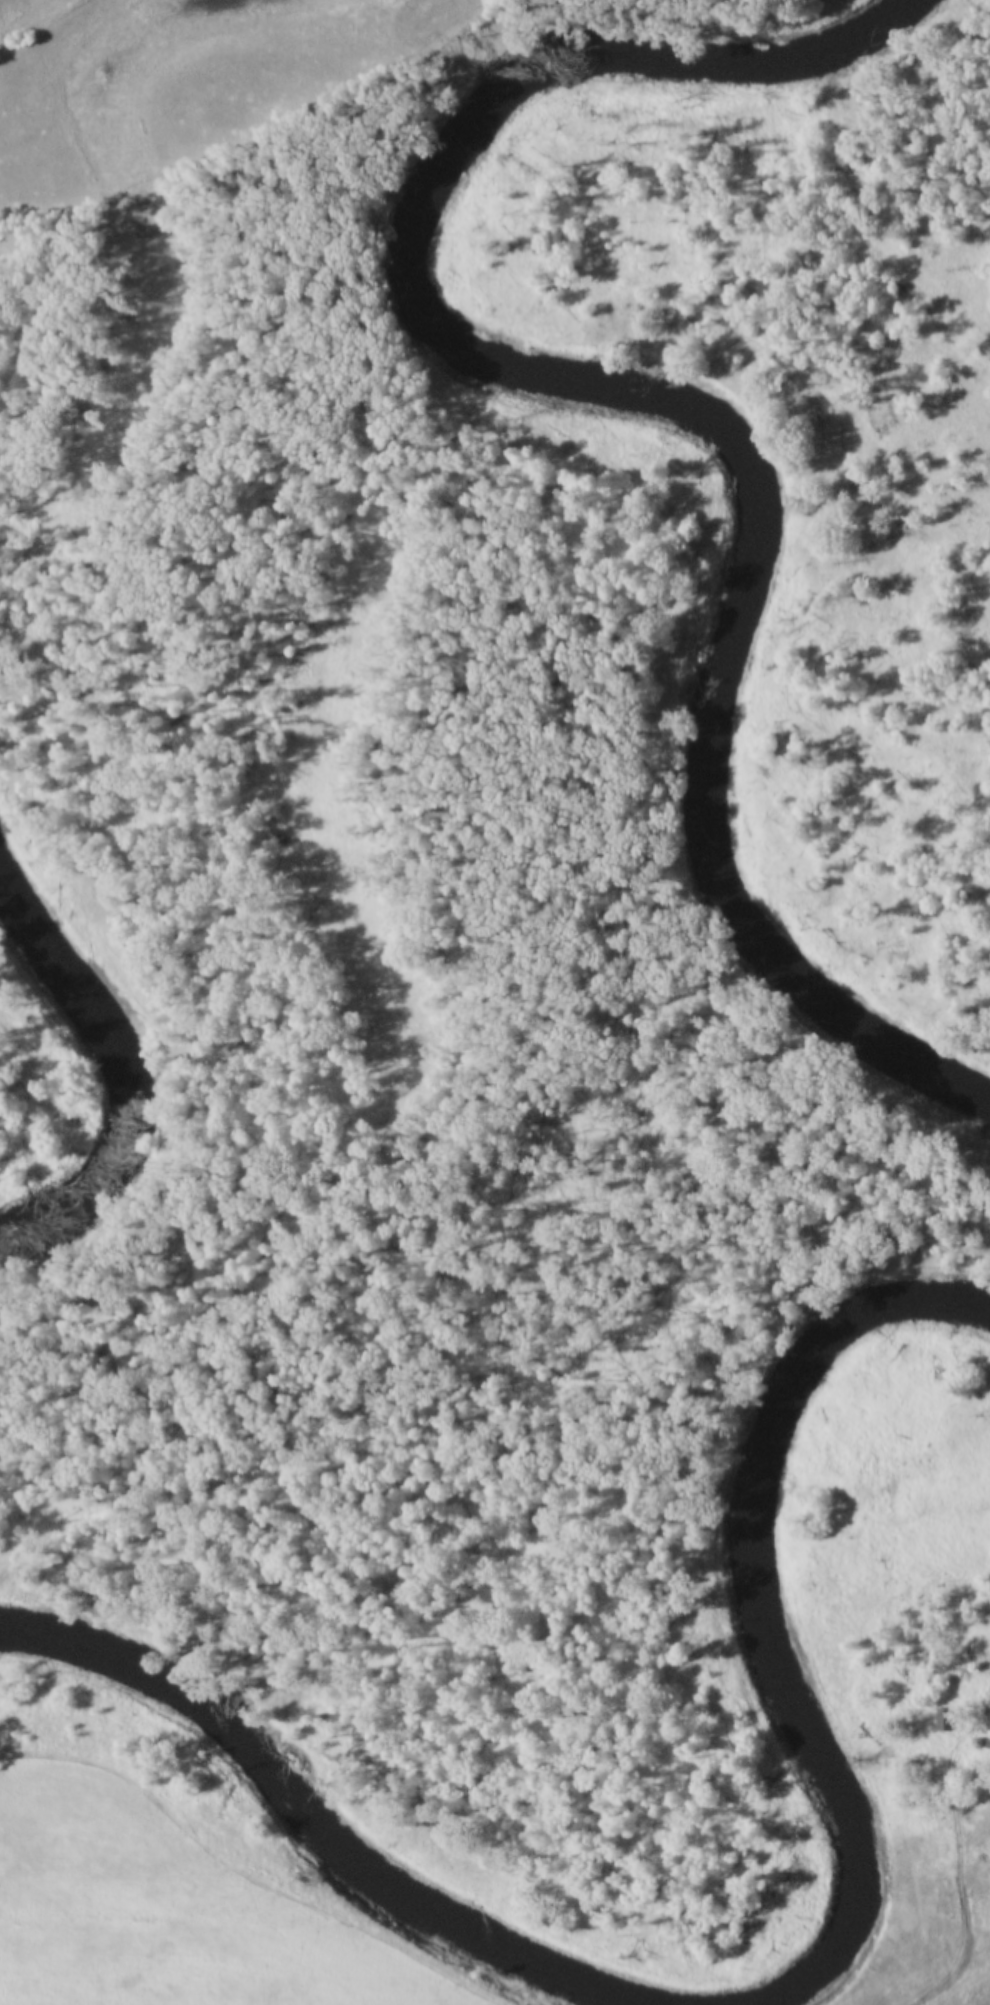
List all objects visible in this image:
river: (645, 397)
river: (123, 1066)
river: (771, 1603)
building: (947, 1720)
river: (318, 1826)

